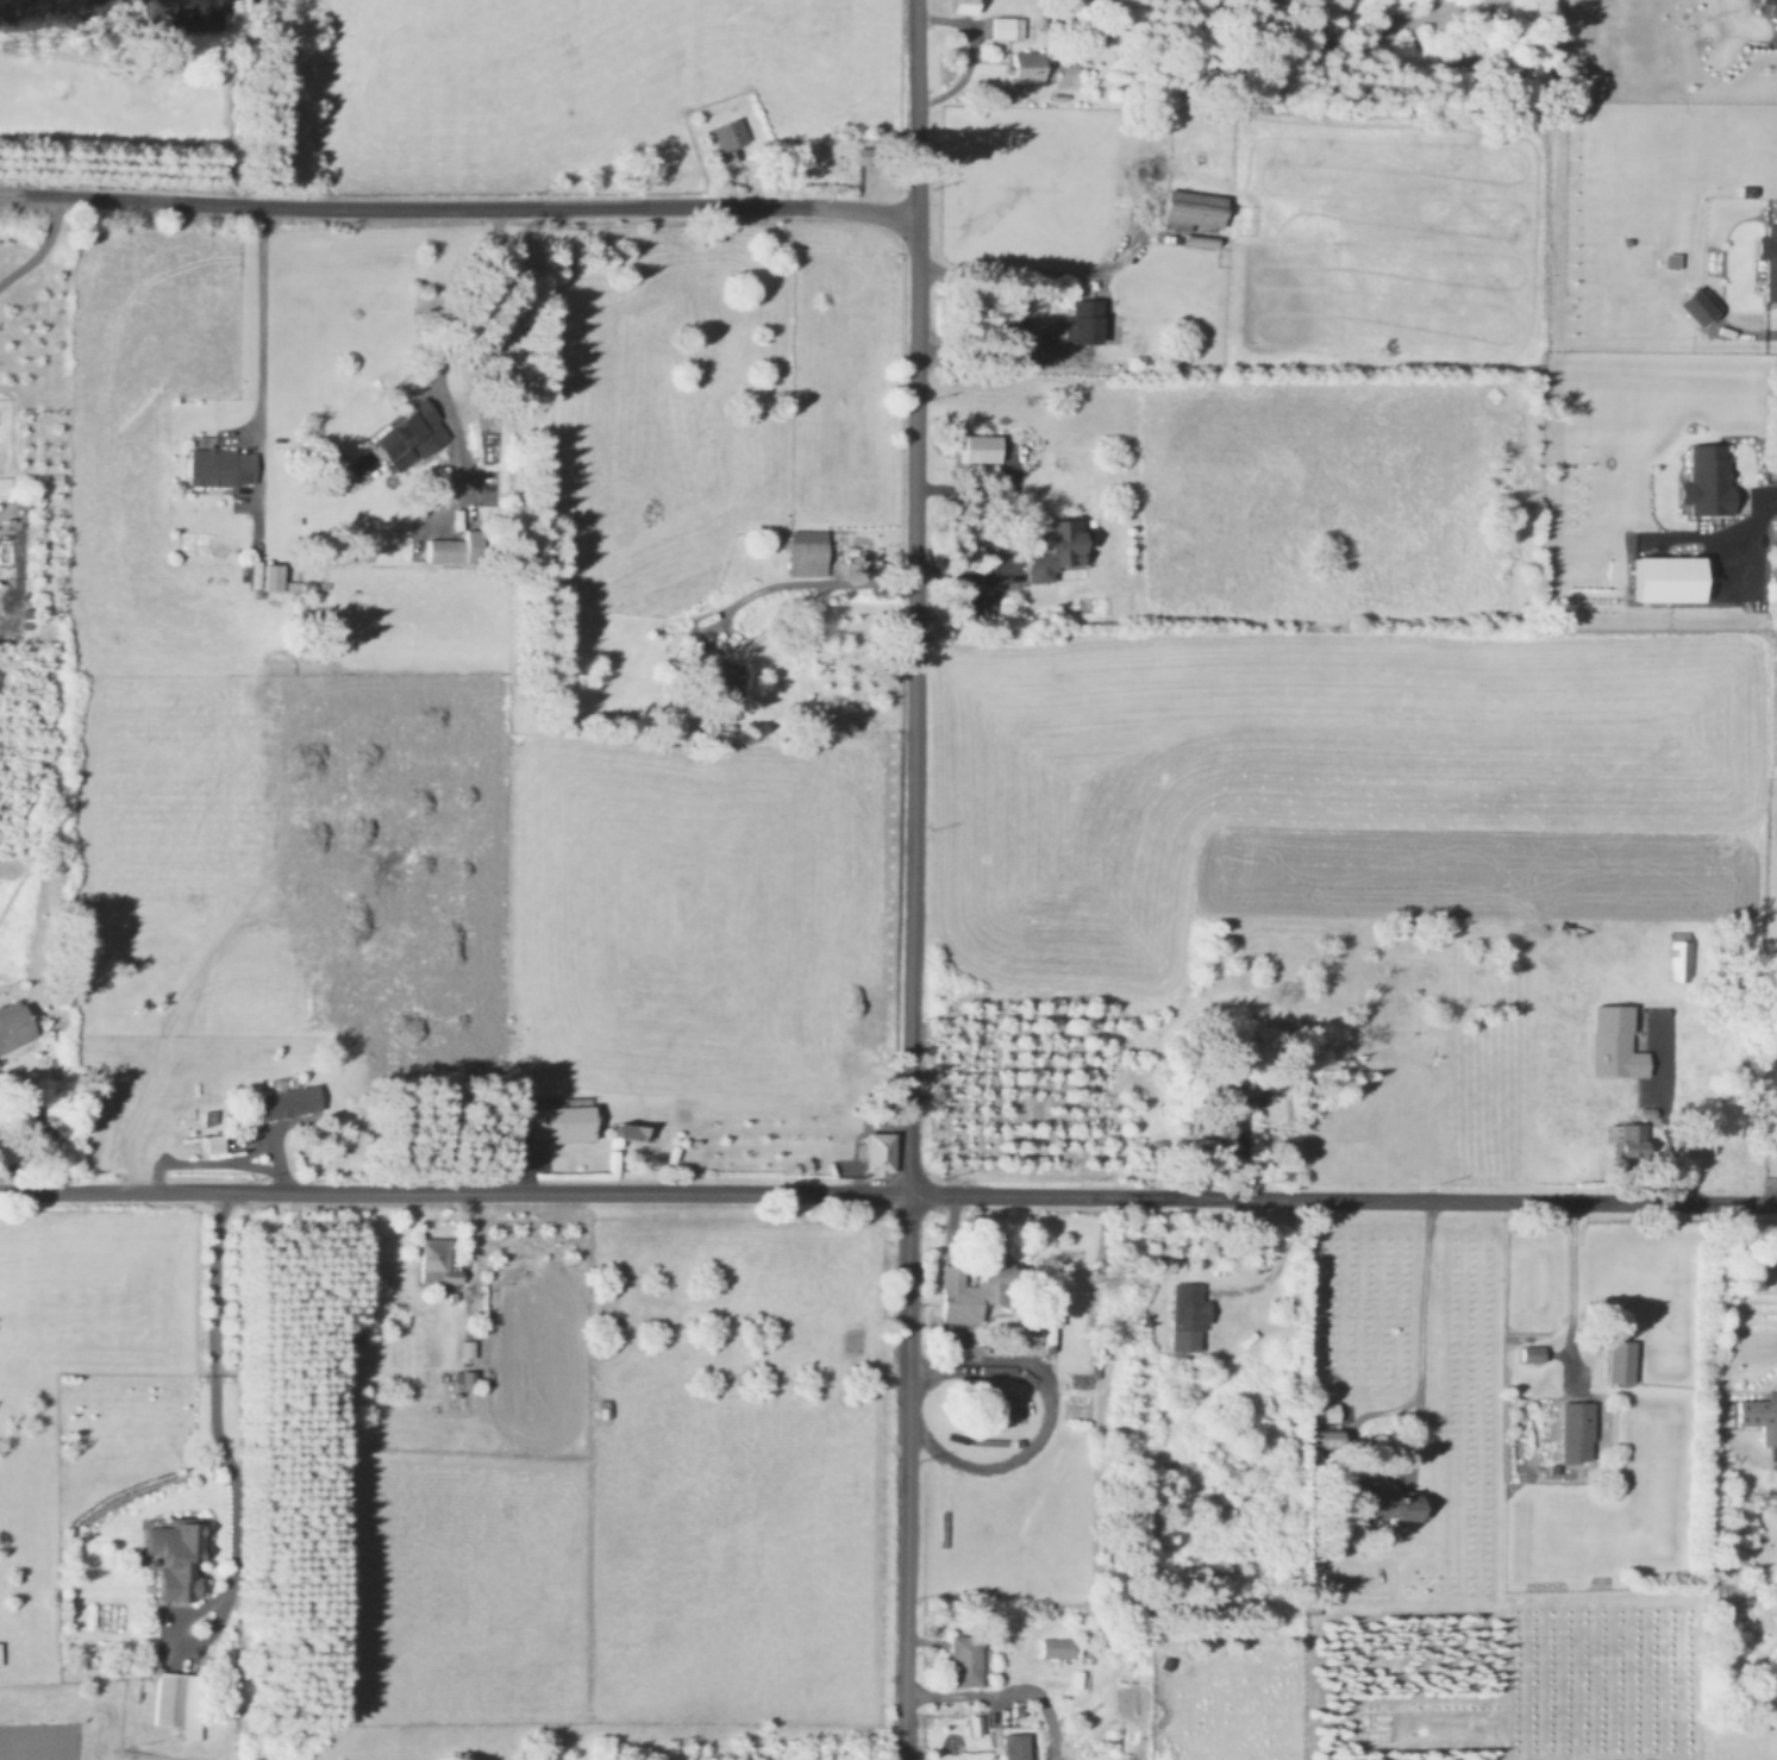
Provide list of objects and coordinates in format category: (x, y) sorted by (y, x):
building: (1771, 2)
building: (964, 6)
building: (1008, 26)
building: (1030, 65)
crop: (461, 82)
building: (730, 132)
building: (865, 154)
building: (1195, 208)
road: (458, 209)
road: (38, 246)
building: (1770, 258)
road: (1040, 273)
building: (1698, 306)
road: (456, 317)
building: (1084, 319)
road: (982, 350)
road: (262, 380)
building: (412, 434)
building: (982, 446)
building: (221, 464)
building: (1710, 478)
road: (1013, 533)
building: (457, 546)
building: (1058, 547)
building: (809, 551)
building: (273, 575)
building: (1673, 576)
road: (806, 585)
road: (914, 599)
crop: (182, 944)
building: (1679, 954)
building: (1616, 1041)
building: (288, 1101)
road: (1665, 1110)
building: (563, 1121)
building: (1234, 1123)
building: (1629, 1138)
building: (214, 1141)
building: (881, 1151)
road: (212, 1166)
road: (453, 1194)
road: (1343, 1201)
crop: (647, 1230)
building: (438, 1260)
road: (1278, 1264)
building: (975, 1289)
road: (1564, 1292)
building: (1189, 1315)
road: (1419, 1326)
building: (468, 1346)
building: (1535, 1351)
building: (1622, 1359)
road: (226, 1403)
building: (1328, 1410)
building: (1762, 1414)
road: (1047, 1416)
building: (1578, 1429)
building: (1328, 1436)
road: (906, 1478)
building: (1394, 1503)
building: (176, 1552)
building: (1058, 1646)
building: (0, 1652)
building: (966, 1659)
building: (181, 1701)
building: (1016, 1746)

